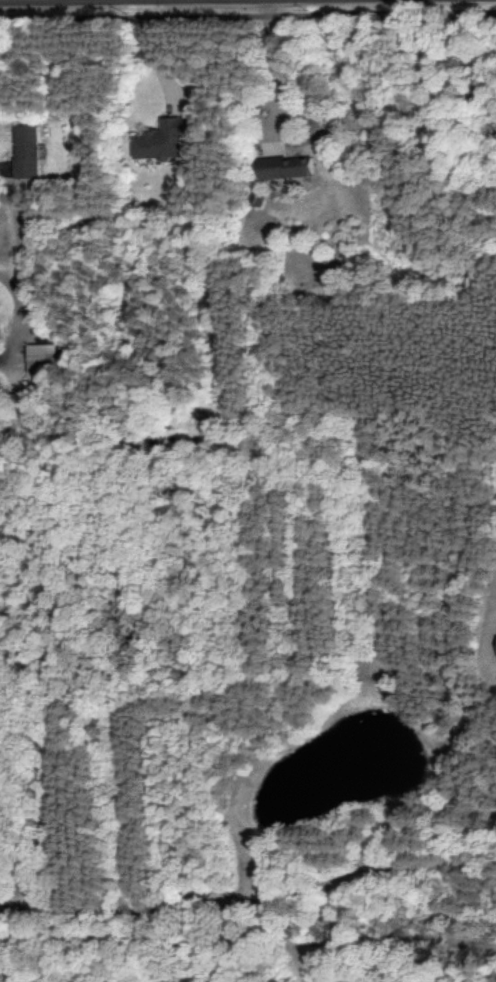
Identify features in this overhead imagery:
road: (248, 13)
road: (158, 53)
road: (270, 71)
building: (159, 139)
building: (24, 151)
building: (282, 167)
road: (20, 308)
building: (41, 358)
road: (251, 901)
road: (248, 932)

